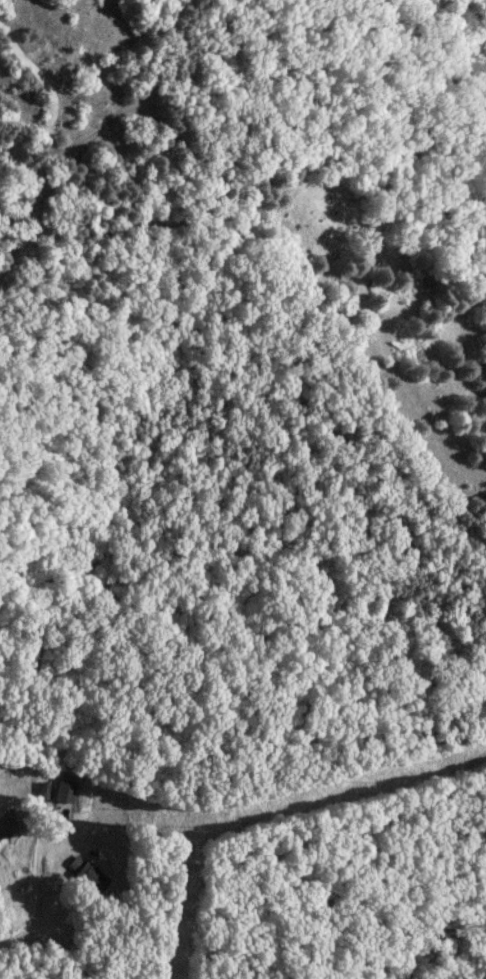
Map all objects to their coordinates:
road: (51, 136)
road: (286, 350)
building: (68, 792)
building: (8, 828)
road: (270, 852)
building: (92, 875)
building: (62, 930)

